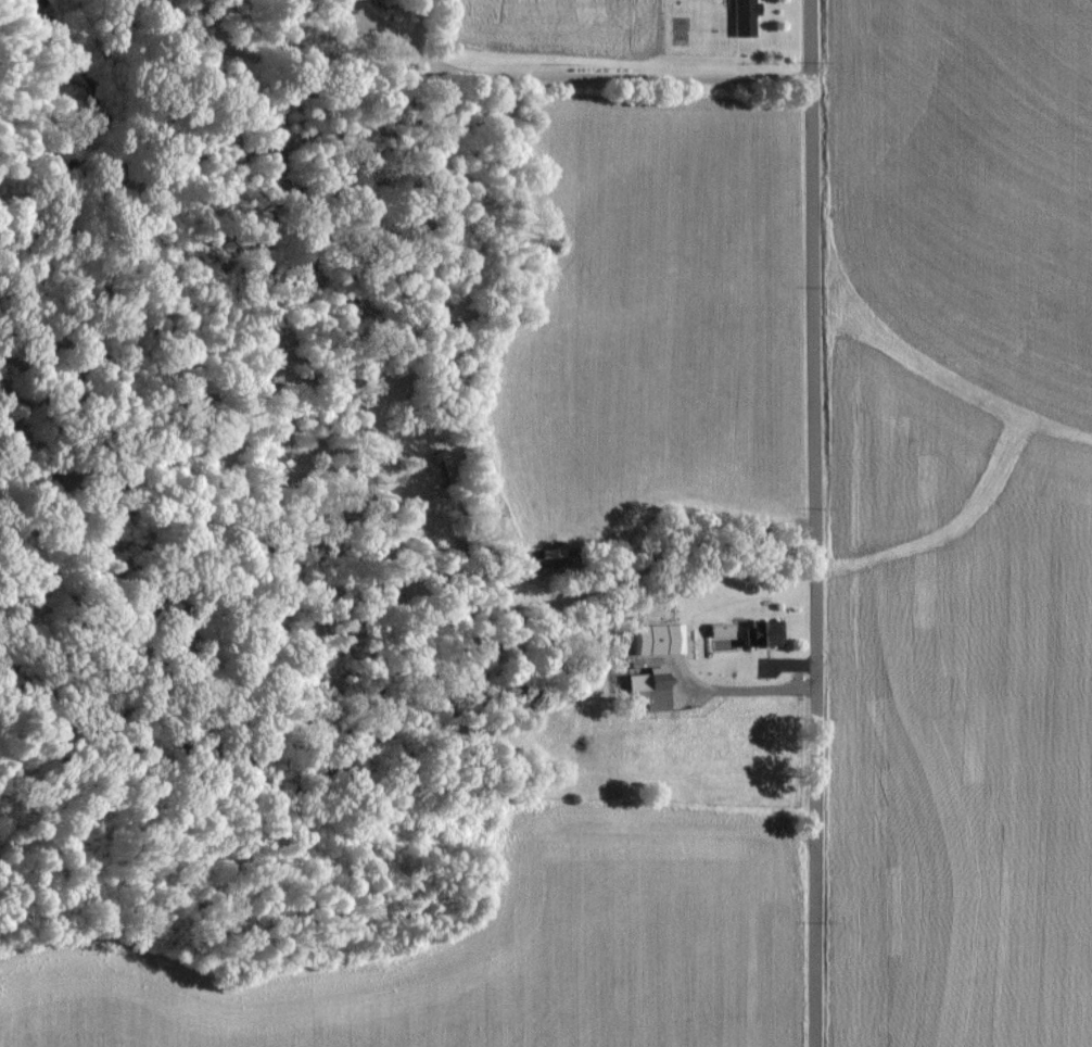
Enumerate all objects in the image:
building: (745, 16)
road: (592, 75)
road: (820, 522)
building: (764, 633)
road: (751, 653)
building: (651, 679)

